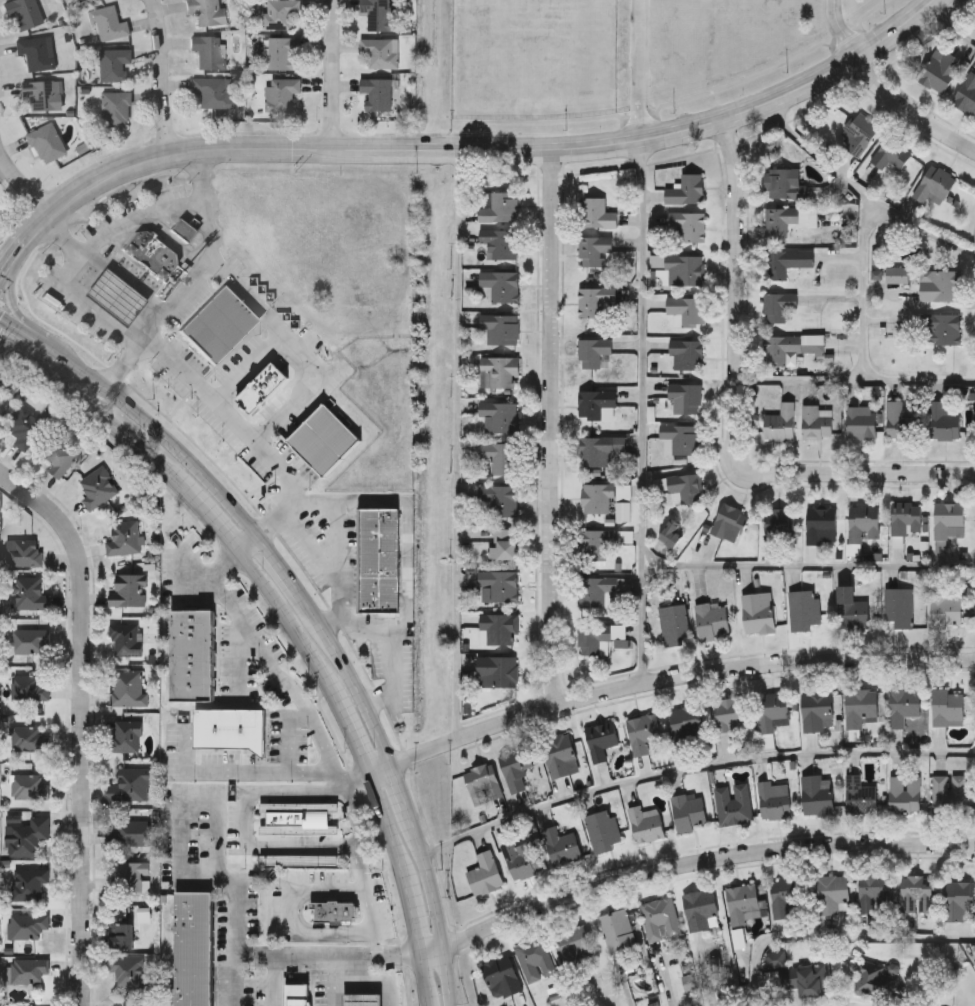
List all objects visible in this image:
building: (79, 0)
building: (209, 11)
building: (24, 13)
building: (281, 13)
building: (380, 13)
building: (109, 22)
road: (952, 23)
road: (839, 31)
building: (285, 50)
building: (380, 50)
building: (38, 51)
building: (210, 51)
building: (114, 64)
building: (939, 69)
road: (641, 70)
road: (331, 74)
road: (164, 76)
building: (215, 90)
building: (282, 92)
building: (378, 92)
building: (43, 93)
building: (966, 93)
building: (117, 107)
road: (912, 108)
building: (858, 133)
building: (47, 141)
road: (487, 149)
building: (890, 154)
building: (785, 182)
road: (23, 186)
building: (934, 186)
building: (686, 189)
road: (862, 190)
building: (497, 206)
road: (162, 208)
building: (592, 210)
building: (788, 219)
building: (688, 224)
building: (183, 228)
building: (500, 242)
building: (594, 250)
building: (151, 252)
road: (14, 259)
building: (780, 262)
building: (680, 267)
building: (878, 274)
building: (897, 274)
road: (129, 276)
road: (190, 277)
building: (939, 284)
building: (499, 286)
road: (862, 288)
building: (115, 296)
building: (592, 299)
road: (80, 304)
road: (14, 305)
building: (777, 305)
building: (687, 310)
building: (221, 324)
building: (500, 328)
building: (937, 328)
road: (18, 330)
building: (790, 347)
road: (48, 350)
building: (592, 351)
building: (686, 354)
building: (499, 371)
road: (853, 380)
road: (200, 386)
building: (263, 387)
road: (294, 393)
building: (686, 397)
building: (0, 398)
building: (597, 405)
road: (95, 409)
road: (643, 413)
building: (499, 415)
road: (730, 416)
building: (944, 420)
building: (781, 422)
building: (816, 422)
building: (860, 422)
building: (900, 422)
building: (22, 425)
road: (553, 427)
building: (682, 438)
road: (165, 439)
building: (326, 439)
road: (465, 443)
building: (599, 449)
building: (57, 455)
building: (500, 457)
building: (97, 487)
building: (684, 488)
building: (500, 498)
building: (597, 498)
building: (624, 503)
road: (211, 518)
building: (906, 518)
building: (948, 520)
building: (728, 521)
building: (863, 522)
building: (779, 523)
building: (821, 523)
building: (670, 534)
building: (123, 537)
building: (503, 544)
building: (595, 544)
road: (247, 546)
building: (23, 552)
road: (406, 557)
building: (379, 559)
road: (809, 566)
road: (326, 575)
road: (288, 585)
building: (498, 585)
building: (598, 588)
building: (128, 590)
building: (29, 593)
building: (898, 606)
building: (851, 608)
building: (803, 609)
building: (945, 609)
building: (757, 614)
building: (711, 620)
building: (673, 621)
road: (291, 625)
road: (367, 626)
building: (500, 628)
building: (591, 637)
building: (125, 638)
building: (29, 640)
building: (192, 654)
building: (497, 671)
road: (278, 675)
road: (676, 679)
building: (28, 687)
building: (127, 688)
road: (358, 696)
building: (903, 704)
building: (860, 706)
building: (948, 707)
building: (772, 710)
building: (817, 710)
building: (730, 713)
road: (81, 721)
building: (686, 725)
building: (232, 728)
road: (290, 732)
building: (642, 732)
building: (125, 735)
road: (358, 735)
building: (27, 738)
building: (600, 739)
building: (768, 741)
building: (559, 754)
road: (244, 766)
road: (382, 769)
building: (514, 770)
road: (691, 773)
building: (130, 784)
building: (482, 784)
building: (28, 786)
road: (399, 793)
building: (949, 793)
building: (817, 794)
building: (904, 794)
building: (859, 795)
road: (218, 799)
building: (774, 799)
building: (733, 804)
building: (689, 811)
building: (297, 817)
building: (645, 823)
road: (389, 825)
road: (243, 828)
building: (601, 830)
building: (128, 831)
building: (25, 836)
building: (561, 845)
building: (299, 858)
building: (521, 858)
road: (699, 860)
road: (361, 867)
building: (484, 873)
building: (128, 877)
building: (29, 882)
road: (425, 882)
building: (874, 892)
building: (832, 893)
building: (916, 893)
building: (783, 895)
building: (957, 898)
building: (741, 901)
building: (701, 909)
building: (334, 911)
road: (290, 914)
road: (412, 915)
building: (659, 918)
building: (26, 925)
building: (616, 929)
building: (120, 934)
road: (833, 937)
building: (574, 943)
building: (194, 949)
road: (428, 949)
road: (320, 951)
building: (534, 958)
road: (236, 959)
building: (776, 959)
road: (335, 966)
building: (25, 969)
building: (893, 969)
building: (127, 970)
building: (501, 975)
road: (443, 976)
building: (807, 978)
road: (423, 979)
building: (874, 979)
road: (362, 982)
building: (690, 982)
building: (298, 994)
building: (363, 999)

